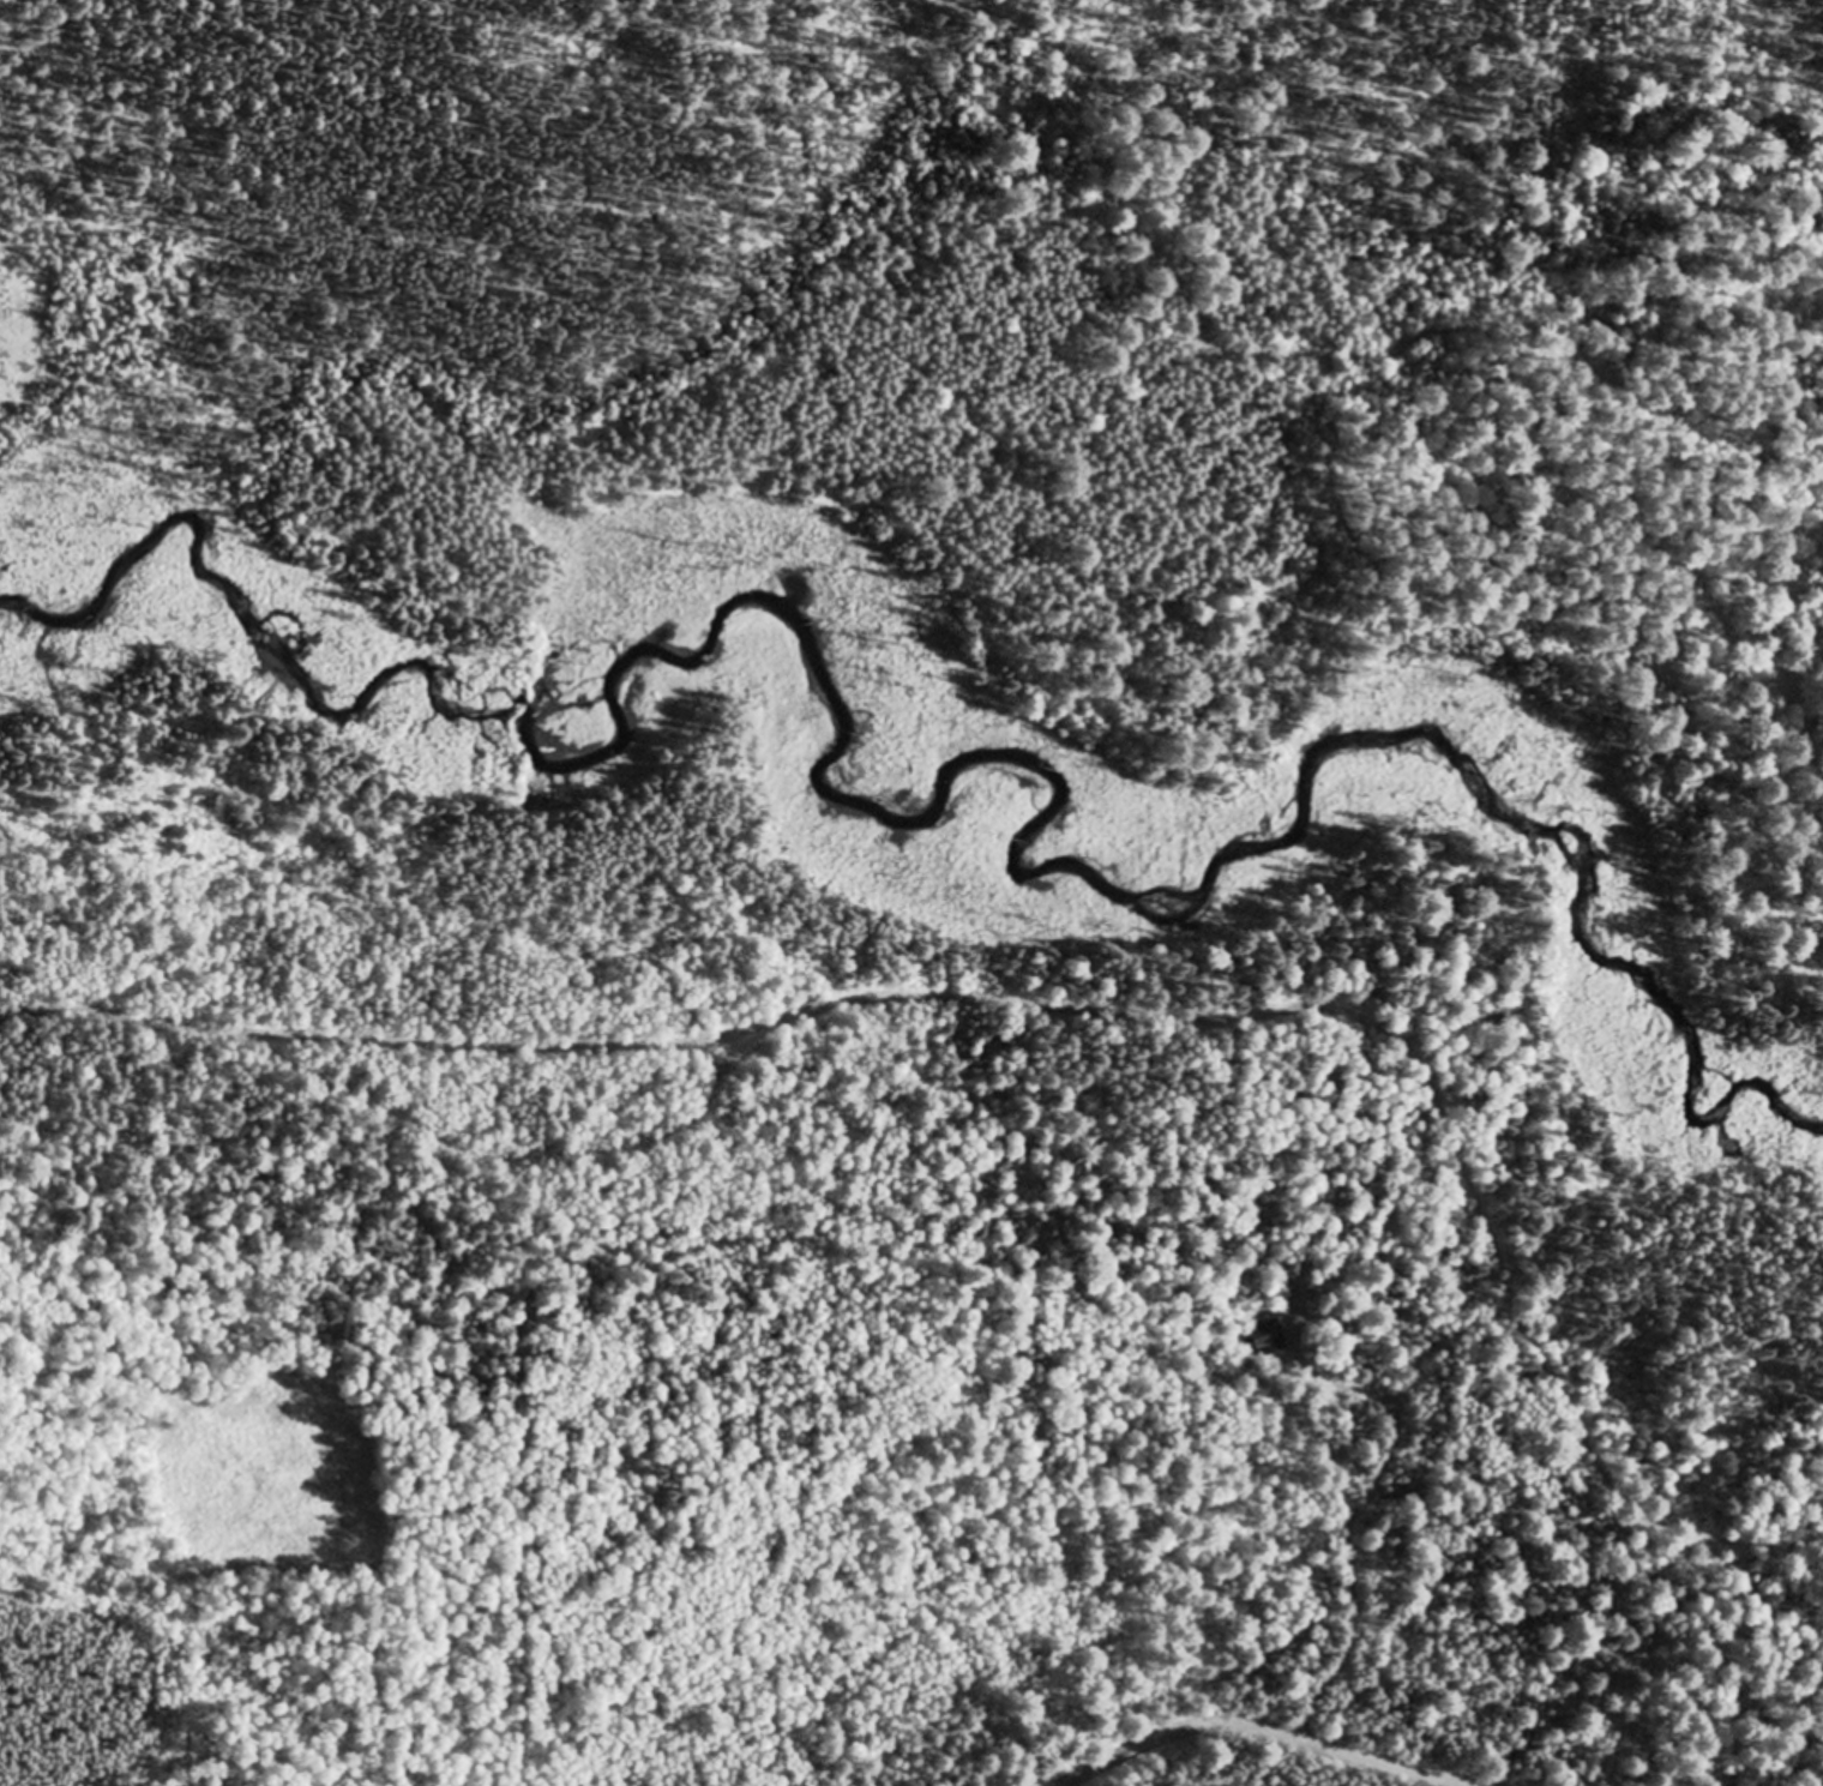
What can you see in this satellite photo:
road: (1283, 1722)

